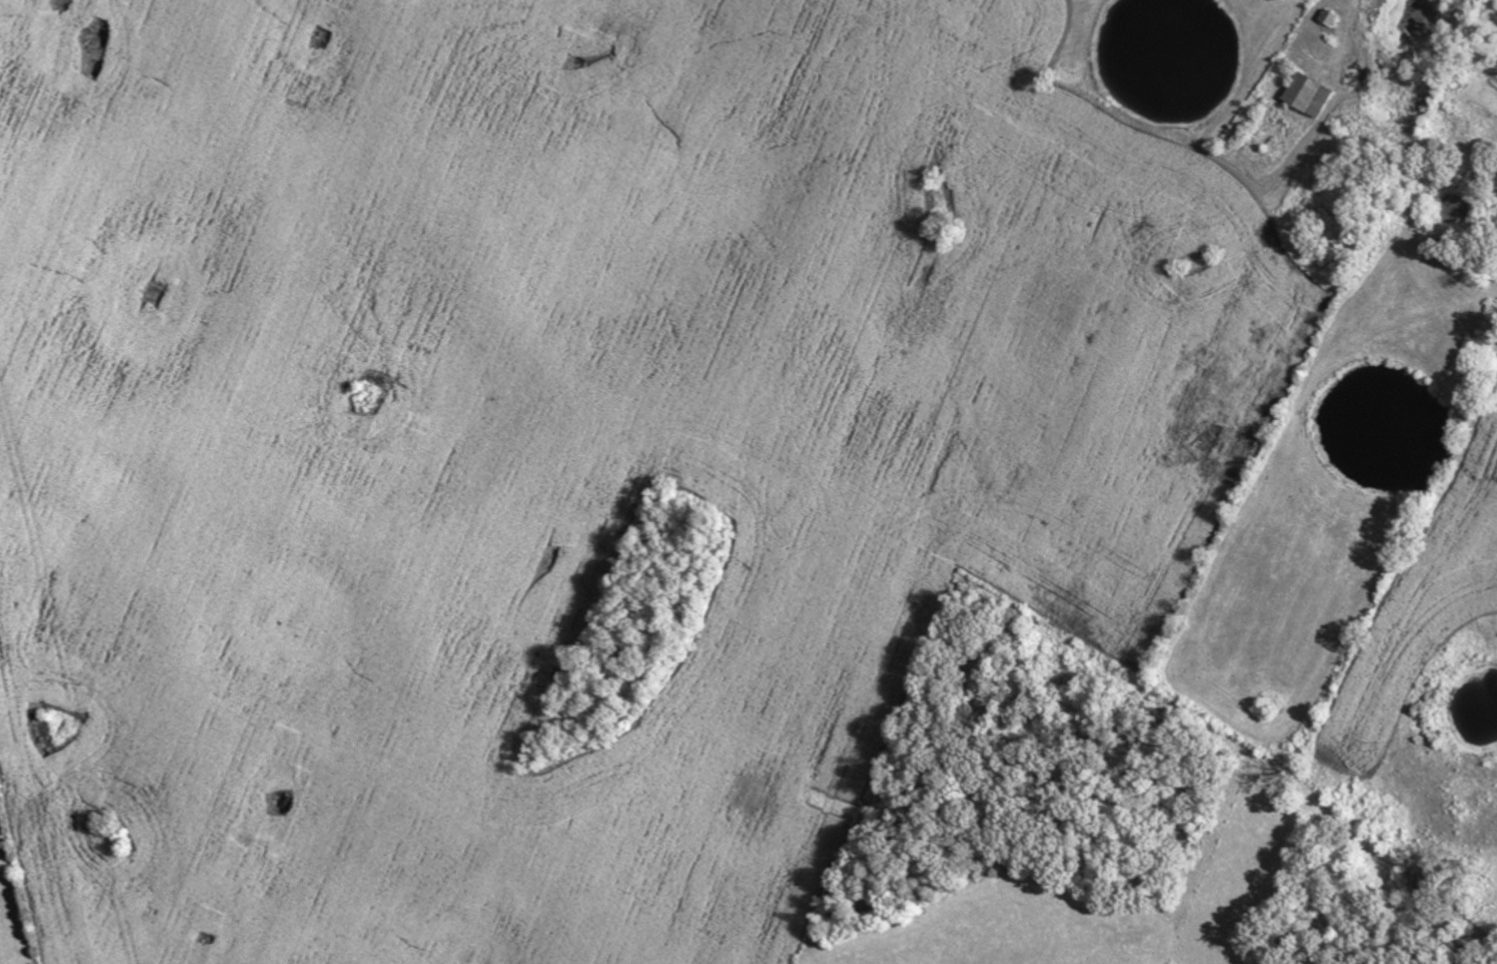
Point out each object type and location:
building: (1311, 95)

